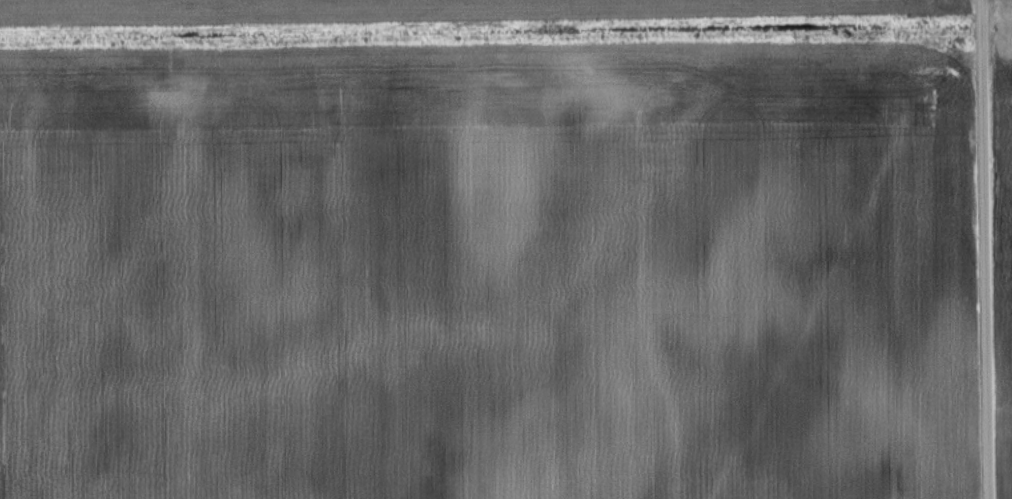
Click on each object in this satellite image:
road: (985, 249)

